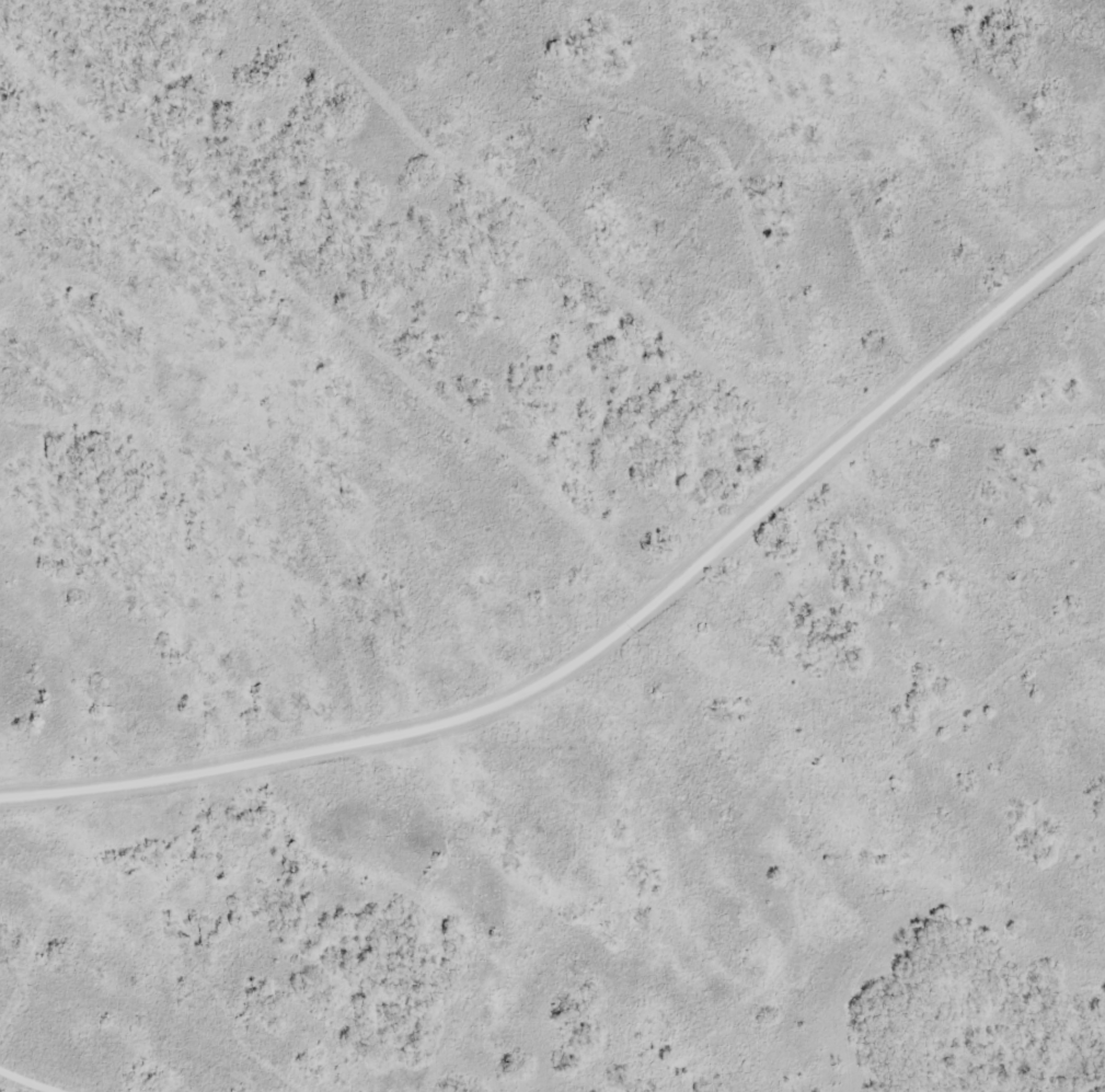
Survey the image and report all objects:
road: (612, 634)
road: (120, 1055)

